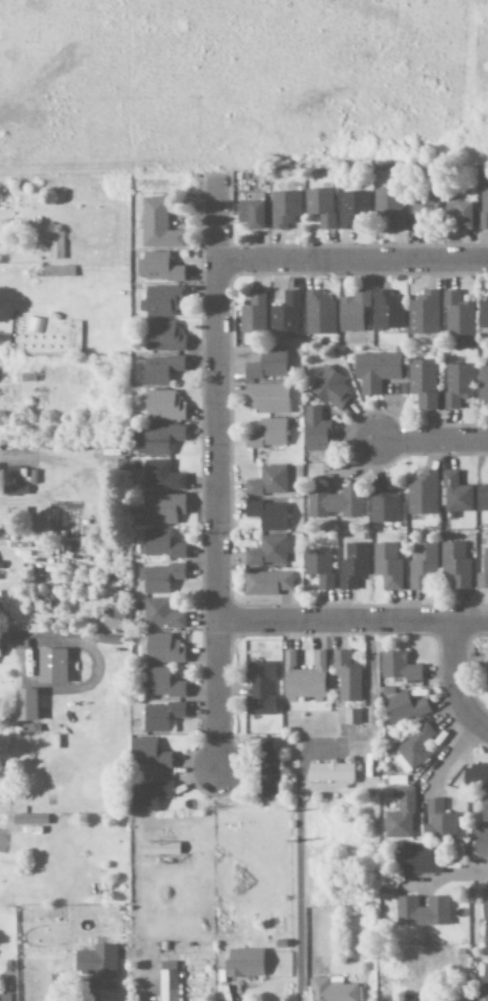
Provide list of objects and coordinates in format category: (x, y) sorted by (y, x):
building: (320, 207)
building: (389, 207)
building: (424, 207)
building: (284, 209)
building: (352, 209)
building: (483, 210)
building: (250, 215)
building: (459, 215)
building: (157, 225)
road: (353, 261)
building: (159, 268)
building: (158, 302)
building: (352, 311)
building: (386, 311)
building: (253, 313)
building: (318, 313)
building: (423, 313)
building: (456, 314)
building: (482, 314)
building: (285, 315)
building: (162, 336)
building: (267, 366)
building: (160, 370)
building: (375, 371)
building: (422, 383)
building: (456, 384)
building: (482, 384)
building: (329, 387)
building: (267, 398)
building: (161, 405)
building: (314, 430)
building: (267, 434)
building: (157, 439)
road: (433, 441)
building: (160, 475)
road: (219, 476)
building: (267, 482)
building: (422, 493)
building: (454, 493)
building: (481, 498)
building: (333, 502)
building: (382, 505)
building: (161, 510)
building: (266, 515)
building: (160, 545)
building: (267, 552)
building: (455, 564)
building: (353, 565)
building: (422, 565)
building: (318, 566)
building: (387, 566)
building: (482, 571)
building: (159, 578)
building: (266, 583)
building: (160, 614)
building: (113, 618)
road: (353, 620)
building: (162, 649)
building: (51, 666)
building: (397, 667)
building: (346, 678)
building: (303, 679)
road: (456, 679)
building: (160, 684)
building: (259, 689)
building: (24, 705)
building: (403, 708)
building: (160, 716)
building: (347, 717)
building: (411, 750)
building: (148, 754)
building: (266, 768)
building: (332, 774)
building: (478, 776)
building: (148, 795)
building: (484, 809)
building: (399, 815)
building: (439, 820)
building: (480, 843)
building: (158, 848)
building: (420, 859)
road: (471, 875)
building: (484, 907)
building: (421, 912)
building: (485, 940)
building: (243, 963)
building: (97, 965)
building: (485, 976)
building: (168, 981)
building: (331, 990)
building: (485, 998)
building: (408, 999)

